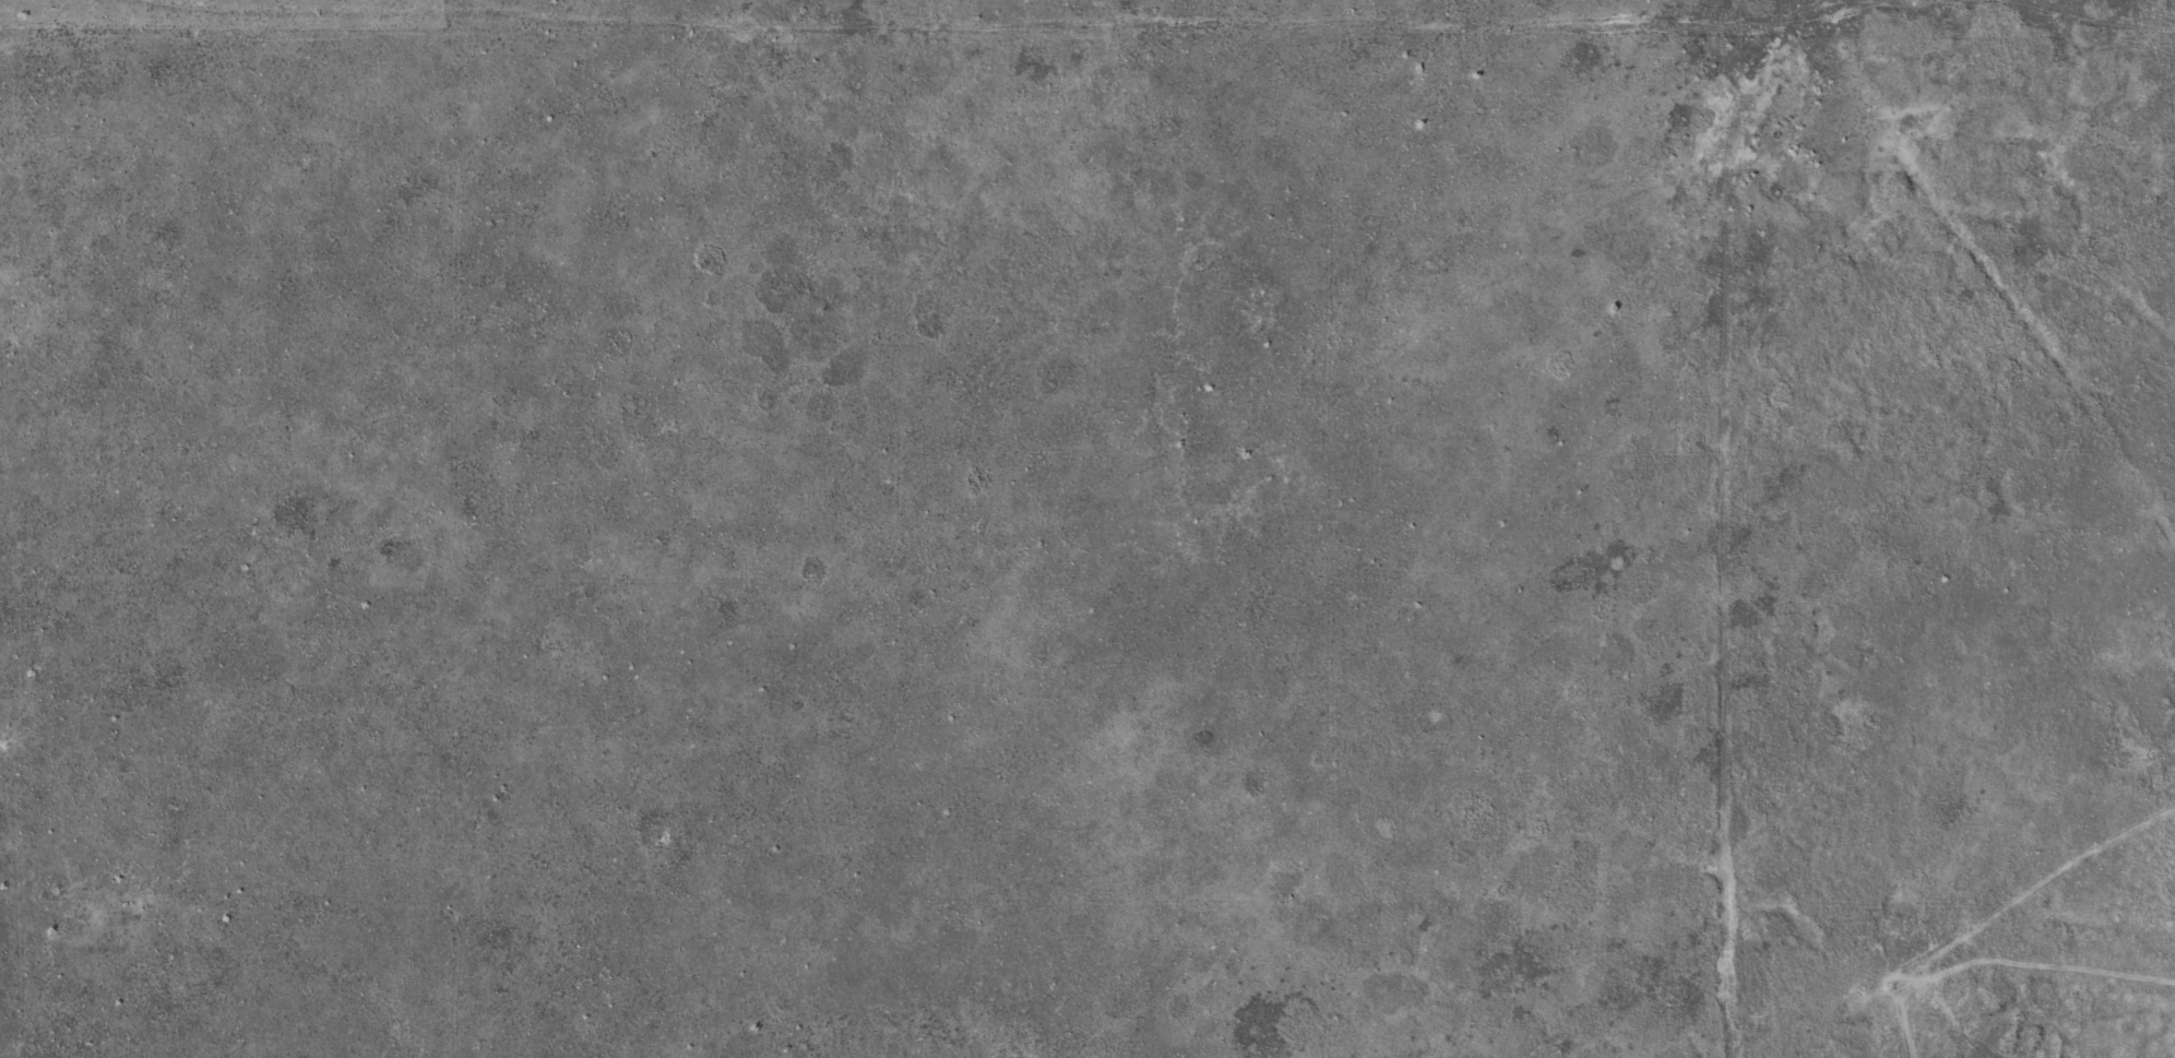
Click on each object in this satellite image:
road: (1766, 9)
road: (1086, 15)

